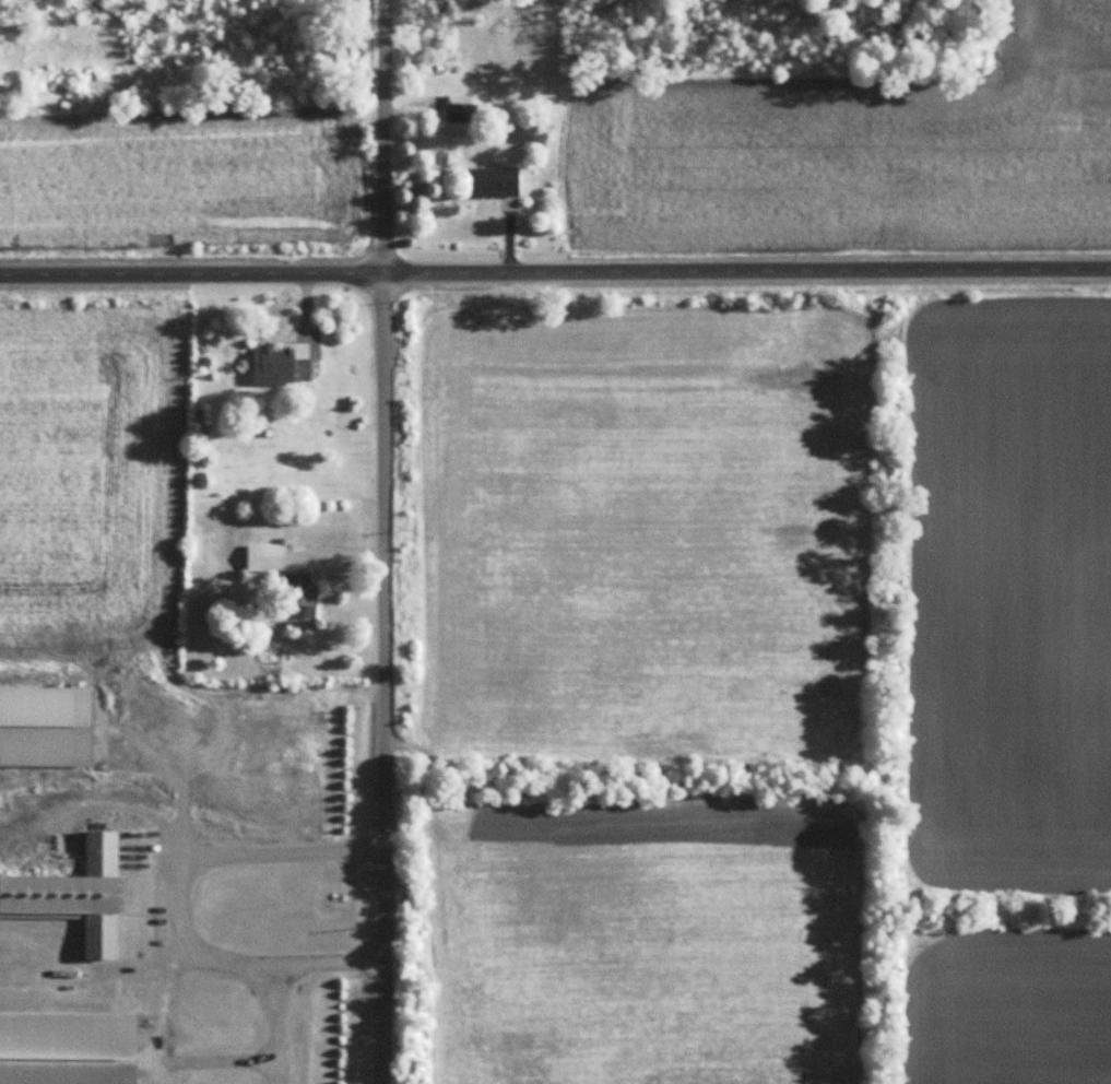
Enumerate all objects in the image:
building: (462, 108)
road: (374, 131)
building: (494, 182)
road: (555, 261)
building: (281, 365)
building: (286, 579)
road: (373, 673)
building: (75, 894)
road: (169, 910)
road: (320, 956)
road: (167, 1018)
building: (69, 1048)

